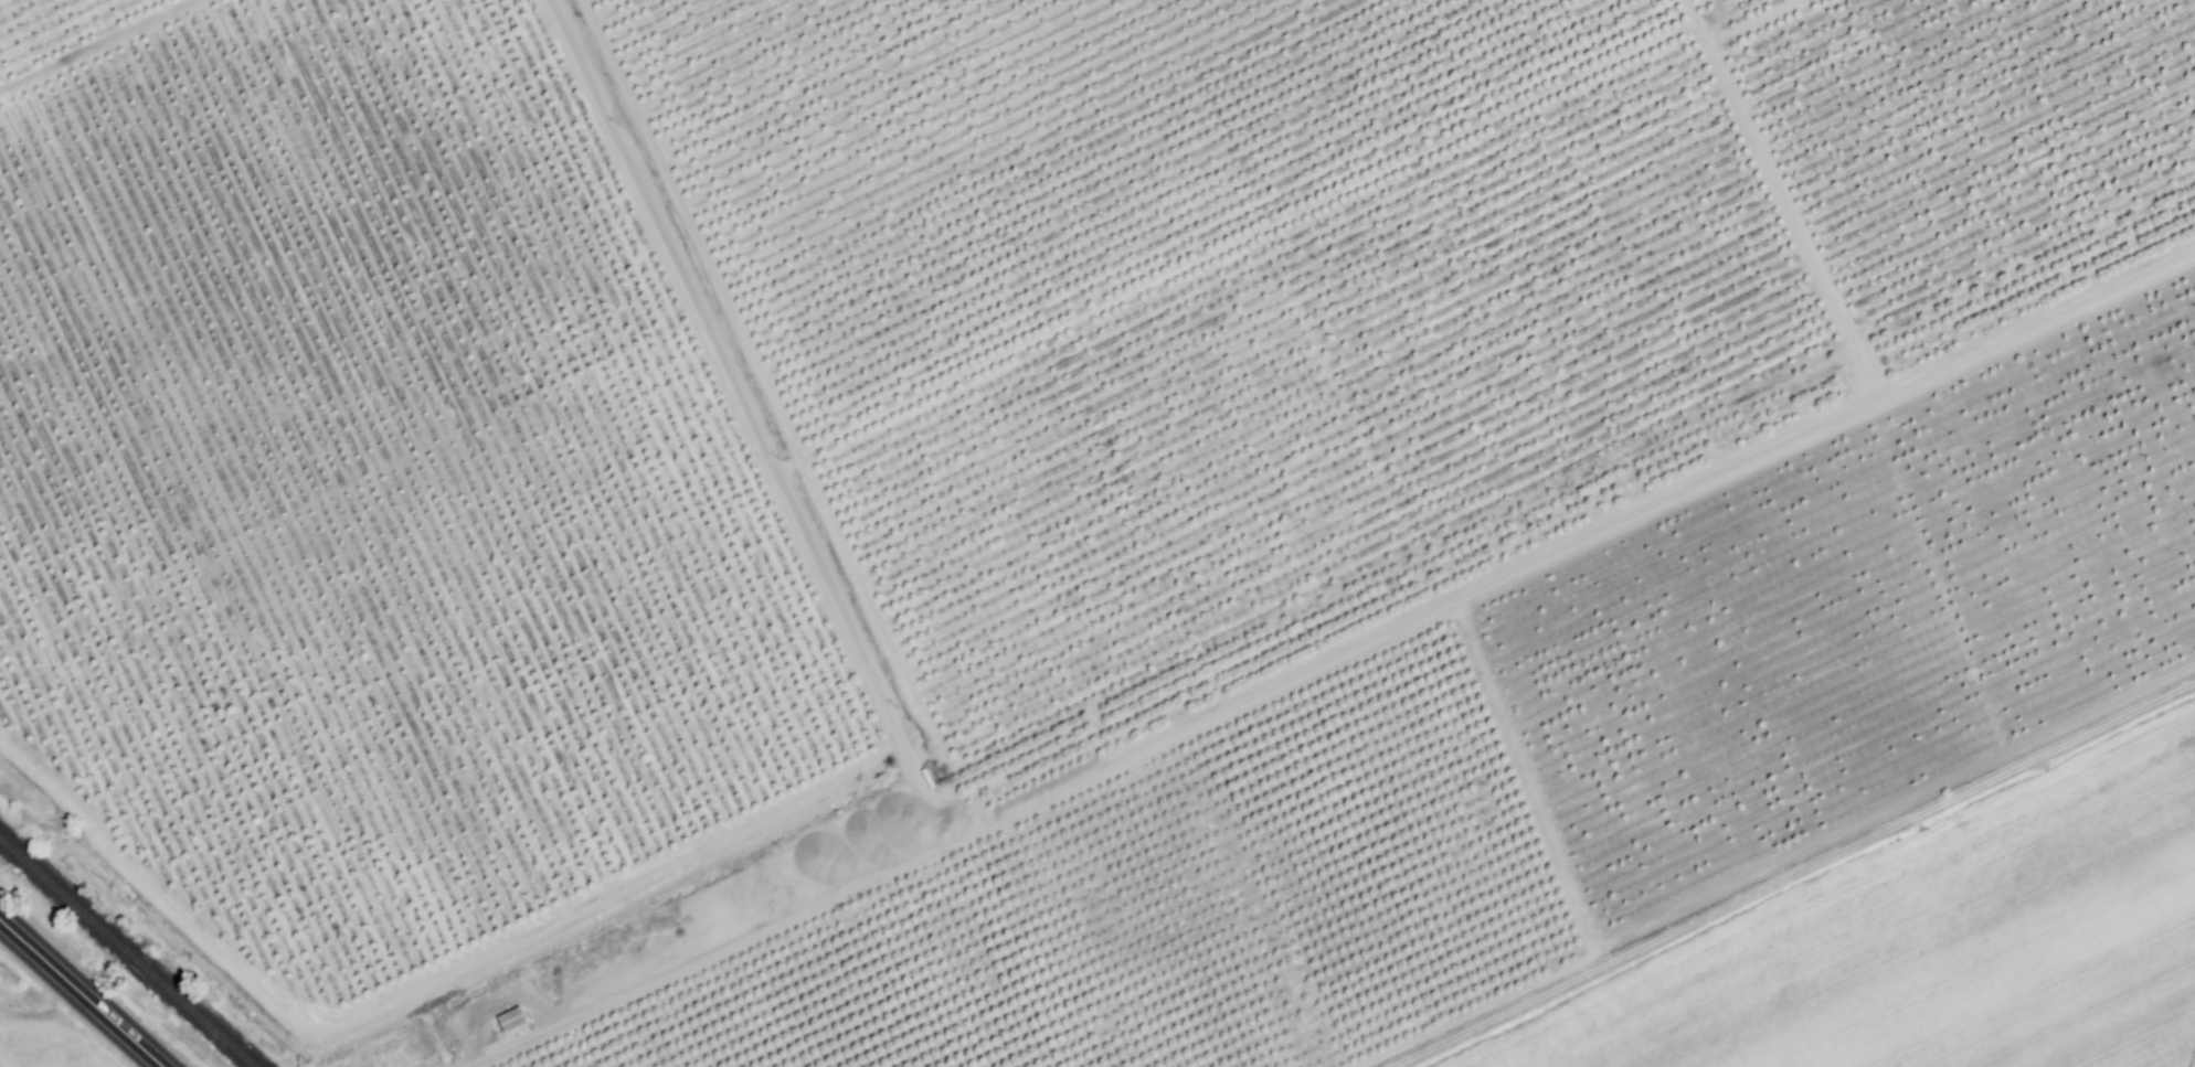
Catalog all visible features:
road: (98, 46)
road: (1752, 211)
road: (744, 405)
road: (1560, 551)
road: (872, 823)
road: (1014, 905)
railway: (127, 953)
road: (707, 954)
road: (81, 994)

